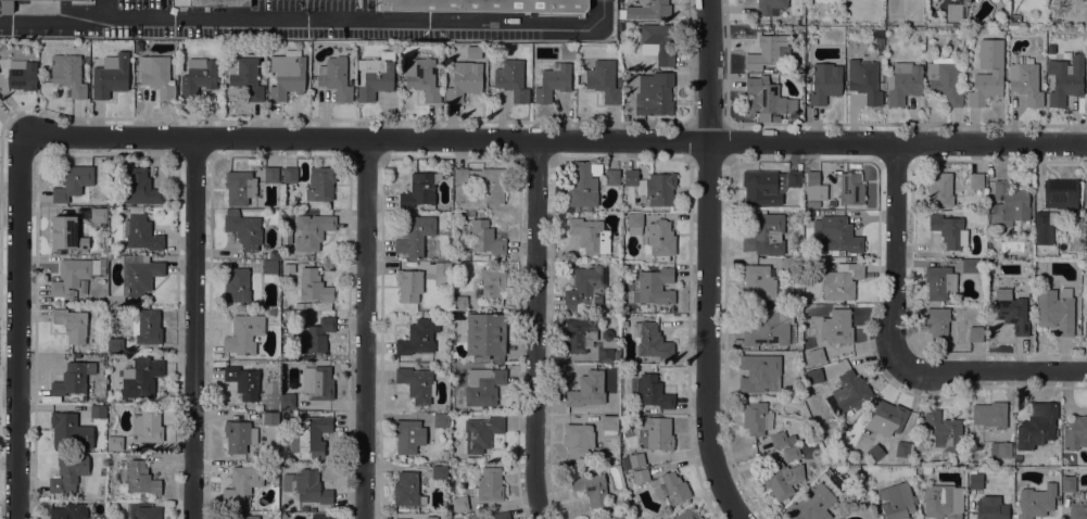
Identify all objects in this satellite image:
parking lot: (143, 3)
building: (211, 3)
parking lot: (311, 4)
building: (5, 5)
building: (484, 5)
building: (770, 7)
road: (104, 8)
building: (645, 10)
road: (307, 17)
building: (1013, 18)
building: (620, 26)
building: (951, 29)
parking lot: (51, 31)
parking lot: (274, 31)
parking lot: (483, 34)
building: (925, 34)
building: (879, 39)
building: (657, 42)
building: (768, 51)
building: (473, 52)
building: (439, 71)
building: (947, 72)
building: (22, 74)
building: (68, 74)
building: (287, 74)
building: (156, 75)
building: (110, 76)
building: (245, 76)
building: (198, 77)
building: (334, 77)
building: (374, 77)
building: (422, 77)
building: (511, 79)
building: (1025, 79)
building: (1064, 79)
building: (464, 80)
building: (603, 80)
building: (863, 80)
building: (553, 81)
building: (824, 81)
building: (619, 83)
building: (902, 83)
building: (881, 85)
building: (985, 87)
building: (654, 93)
building: (1086, 93)
building: (764, 97)
road: (554, 141)
building: (270, 175)
building: (289, 175)
building: (611, 177)
building: (793, 179)
building: (975, 180)
building: (484, 181)
building: (73, 182)
building: (320, 183)
building: (582, 183)
building: (654, 186)
building: (138, 187)
building: (240, 187)
building: (762, 187)
building: (814, 187)
building: (419, 189)
building: (850, 189)
building: (939, 189)
building: (1060, 193)
building: (1085, 193)
building: (1008, 205)
building: (808, 212)
building: (98, 214)
building: (1086, 217)
building: (634, 223)
building: (1044, 227)
building: (243, 229)
building: (140, 230)
building: (312, 230)
building: (949, 230)
building: (66, 233)
building: (764, 233)
building: (590, 235)
building: (836, 235)
building: (414, 236)
building: (286, 238)
building: (484, 238)
building: (660, 238)
road: (895, 252)
road: (707, 263)
building: (791, 264)
building: (969, 265)
building: (287, 267)
building: (441, 268)
building: (269, 270)
building: (137, 276)
building: (69, 277)
building: (842, 281)
building: (758, 282)
building: (939, 282)
building: (492, 283)
building: (236, 284)
building: (408, 284)
building: (83, 286)
building: (585, 287)
building: (654, 287)
building: (314, 290)
building: (458, 303)
building: (624, 309)
building: (1056, 309)
building: (1012, 314)
building: (582, 316)
building: (72, 324)
building: (937, 324)
building: (836, 326)
building: (1085, 326)
building: (149, 327)
building: (771, 327)
road: (192, 328)
road: (16, 329)
road: (364, 329)
road: (533, 330)
building: (580, 333)
building: (243, 334)
building: (485, 334)
building: (975, 334)
building: (315, 336)
building: (419, 337)
building: (650, 340)
building: (115, 344)
building: (606, 345)
building: (816, 355)
building: (154, 357)
road: (989, 369)
building: (759, 374)
building: (814, 376)
building: (73, 378)
building: (140, 378)
building: (243, 381)
building: (317, 382)
building: (417, 383)
building: (483, 387)
building: (587, 390)
building: (652, 392)
building: (848, 394)
building: (286, 401)
building: (484, 409)
building: (625, 409)
building: (98, 412)
building: (989, 415)
building: (756, 417)
building: (270, 418)
building: (886, 418)
building: (441, 420)
building: (609, 425)
building: (147, 426)
building: (1036, 426)
building: (63, 427)
building: (944, 430)
building: (481, 433)
building: (1075, 433)
building: (659, 434)
building: (239, 435)
building: (311, 435)
building: (408, 435)
building: (780, 439)
building: (578, 440)
building: (114, 443)
building: (1000, 450)
building: (902, 451)
building: (875, 453)
building: (791, 454)
building: (416, 458)
building: (471, 459)
building: (636, 459)
building: (846, 459)
building: (854, 460)
building: (439, 470)
building: (68, 472)
building: (102, 472)
building: (641, 476)
building: (141, 479)
building: (781, 479)
building: (975, 480)
building: (241, 483)
building: (1067, 483)
building: (490, 484)
building: (306, 486)
building: (591, 488)
building: (671, 488)
building: (407, 489)
building: (895, 501)
building: (939, 502)
building: (1036, 502)
building: (459, 503)
building: (811, 504)
building: (990, 508)
building: (1078, 510)
building: (68, 511)
building: (147, 512)
building: (687, 514)
building: (500, 515)
building: (620, 515)
building: (241, 517)
building: (321, 517)
building: (431, 518)

